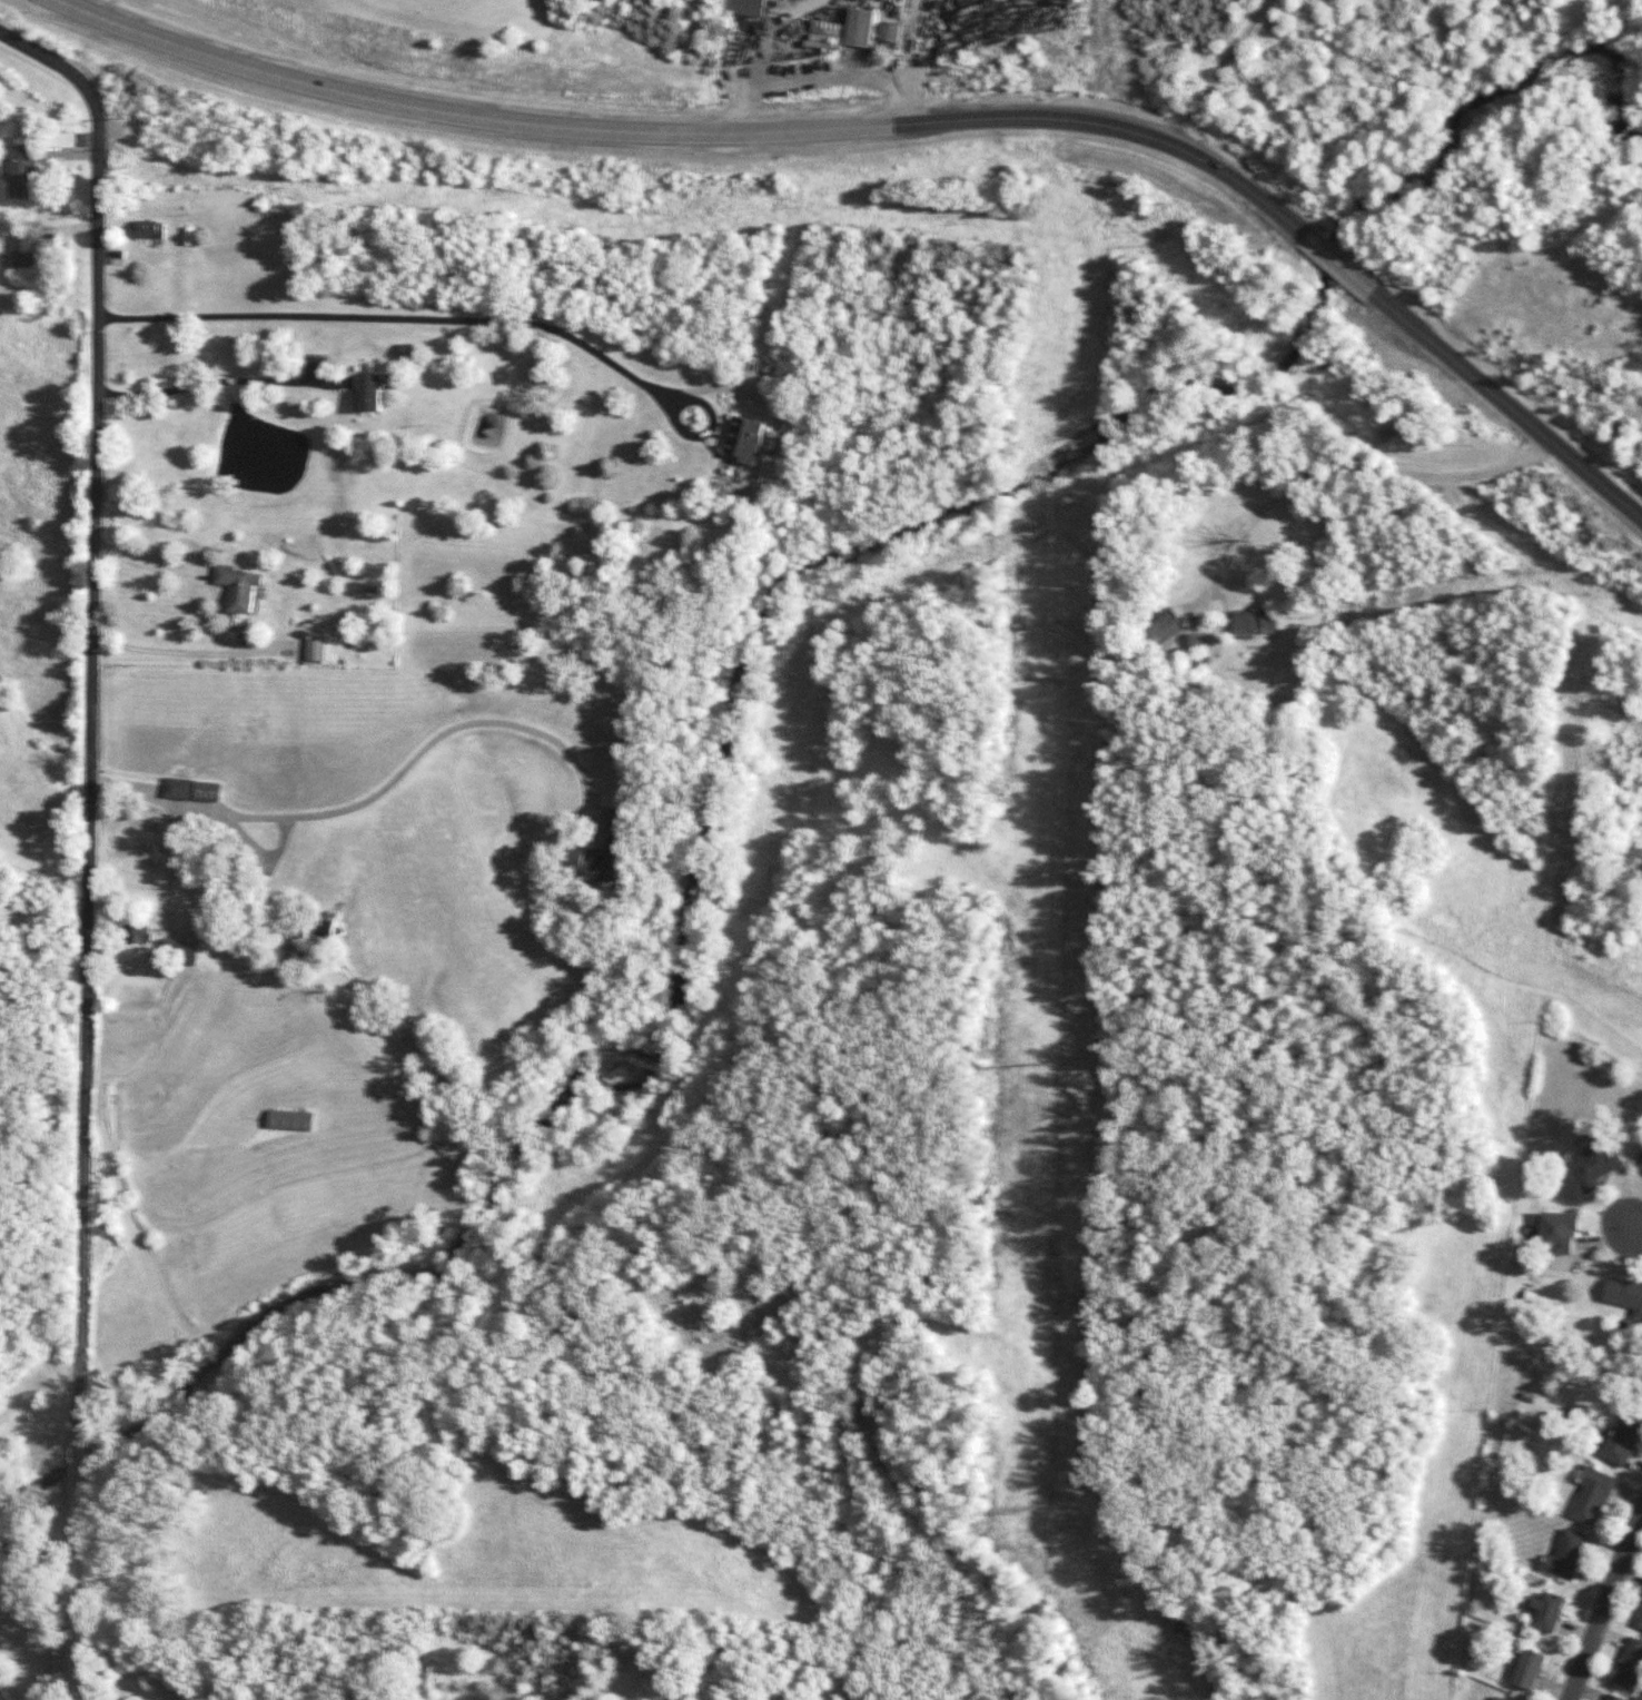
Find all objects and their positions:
power tower: (1082, 3)
building: (743, 7)
building: (861, 28)
building: (891, 32)
road: (46, 61)
road: (813, 77)
road: (685, 137)
building: (23, 171)
building: (147, 229)
building: (22, 251)
road: (1339, 261)
road: (462, 319)
road: (221, 380)
building: (368, 393)
road: (1509, 404)
building: (744, 439)
road: (1346, 458)
power tower: (1064, 586)
building: (239, 587)
building: (1255, 622)
building: (1167, 626)
building: (1198, 642)
building: (319, 649)
road: (190, 662)
road: (96, 768)
building: (178, 788)
building: (208, 791)
road: (383, 791)
building: (603, 856)
road: (167, 913)
building: (137, 932)
building: (179, 950)
power tower: (1052, 1065)
building: (291, 1120)
building: (1640, 1163)
building: (1593, 1165)
road: (1638, 1226)
building: (1559, 1233)
building: (1625, 1295)
building: (1641, 1395)
building: (1623, 1440)
road: (81, 1463)
building: (1593, 1495)
power tower: (1041, 1510)
building: (1566, 1555)
road: (77, 1587)
road: (1601, 1610)
building: (1547, 1611)
building: (1640, 1620)
building: (1630, 1664)
building: (1529, 1669)
building: (1613, 1697)
building: (1498, 1698)

